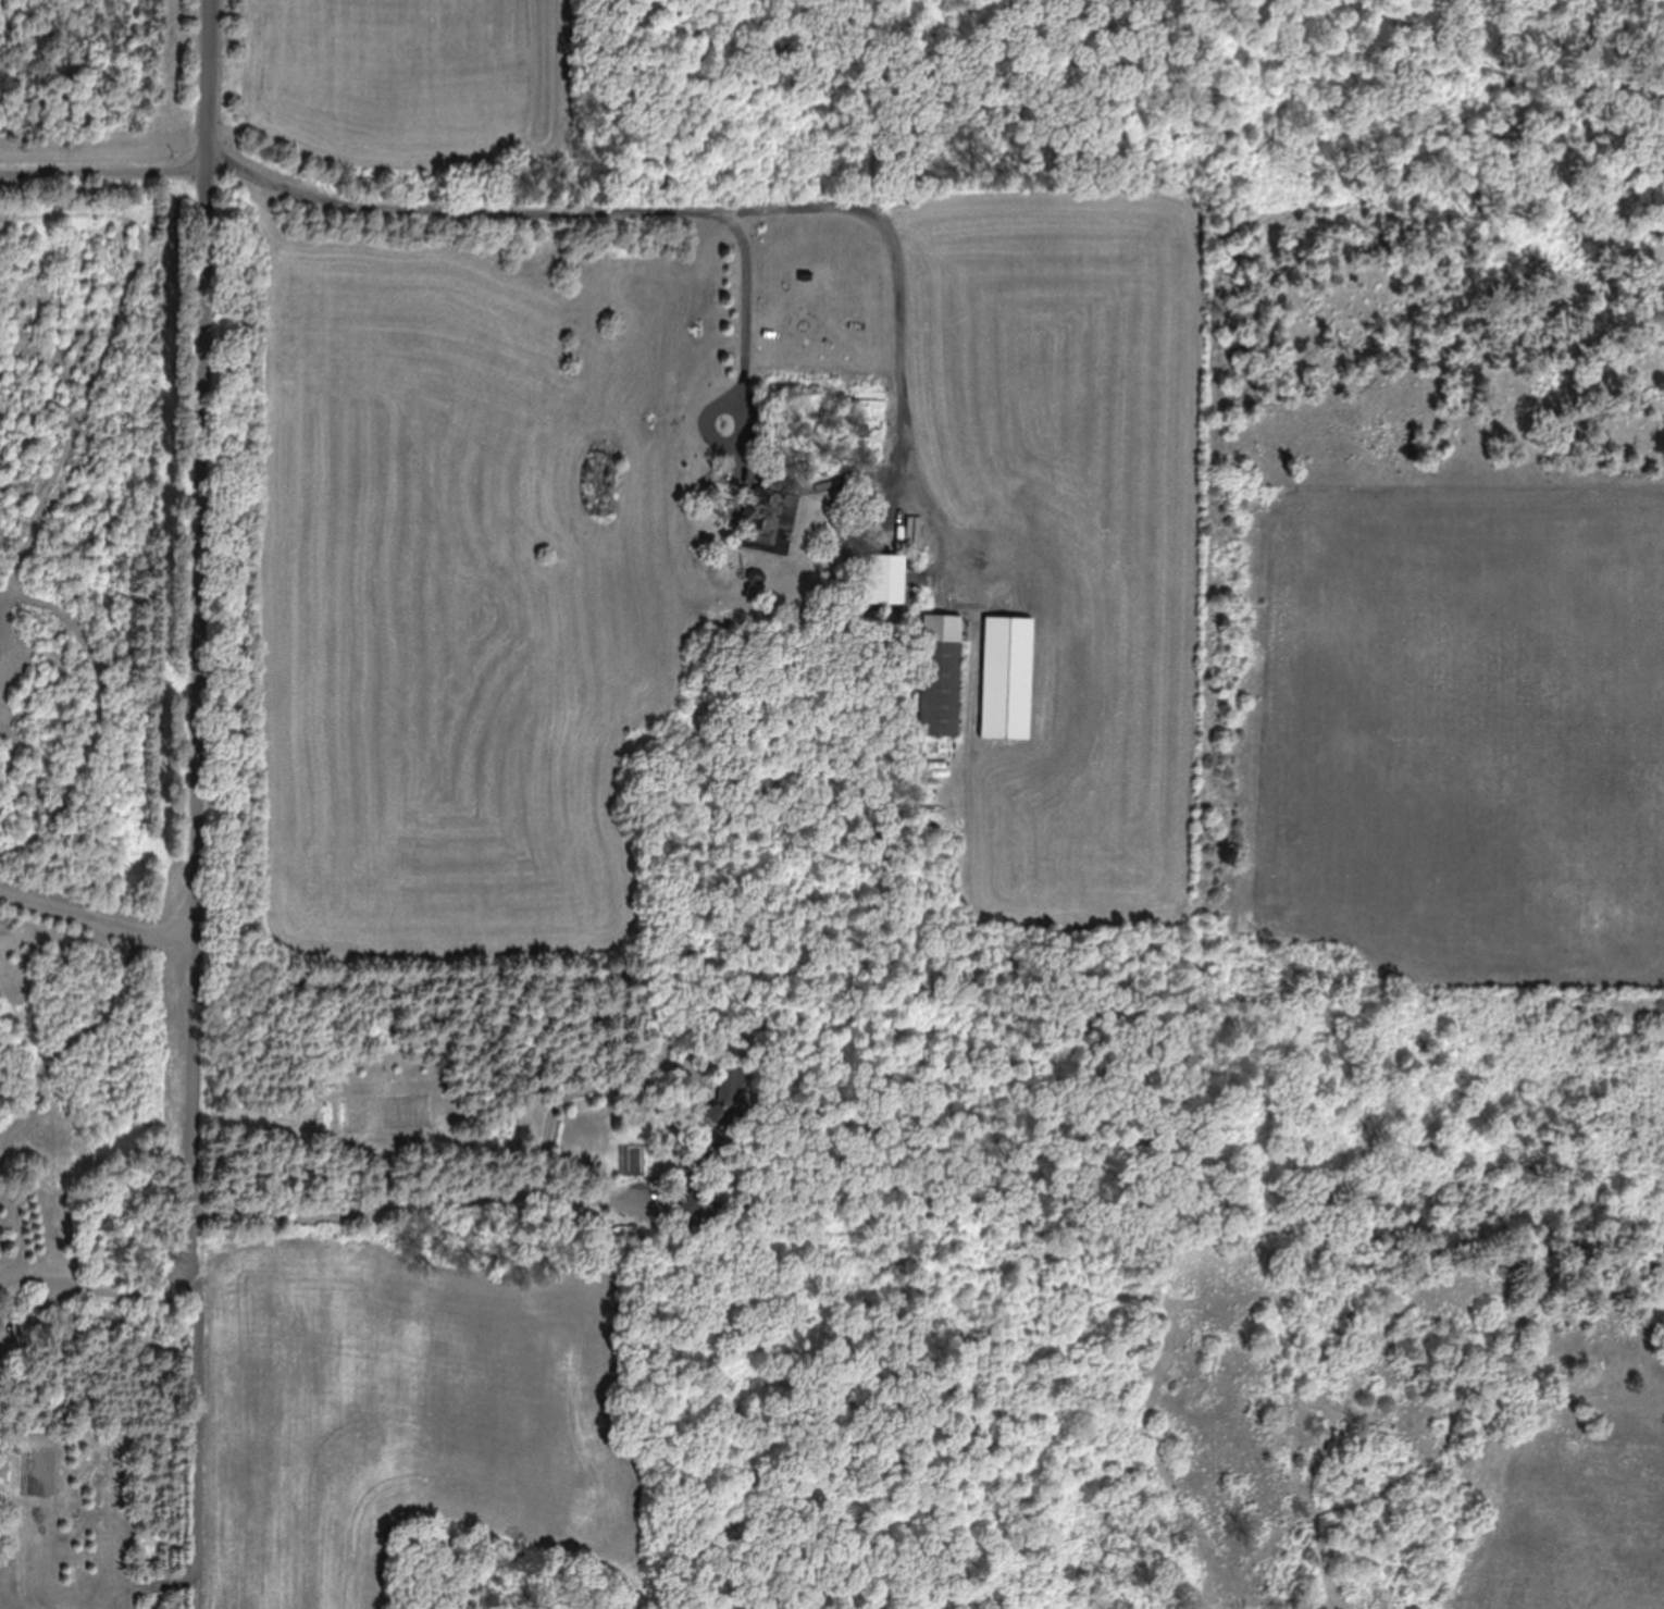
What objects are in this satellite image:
road: (282, 131)
building: (769, 515)
building: (884, 581)
building: (937, 690)
road: (199, 706)
road: (97, 918)
building: (728, 1101)
road: (425, 1204)
road: (28, 1274)
road: (28, 1314)

